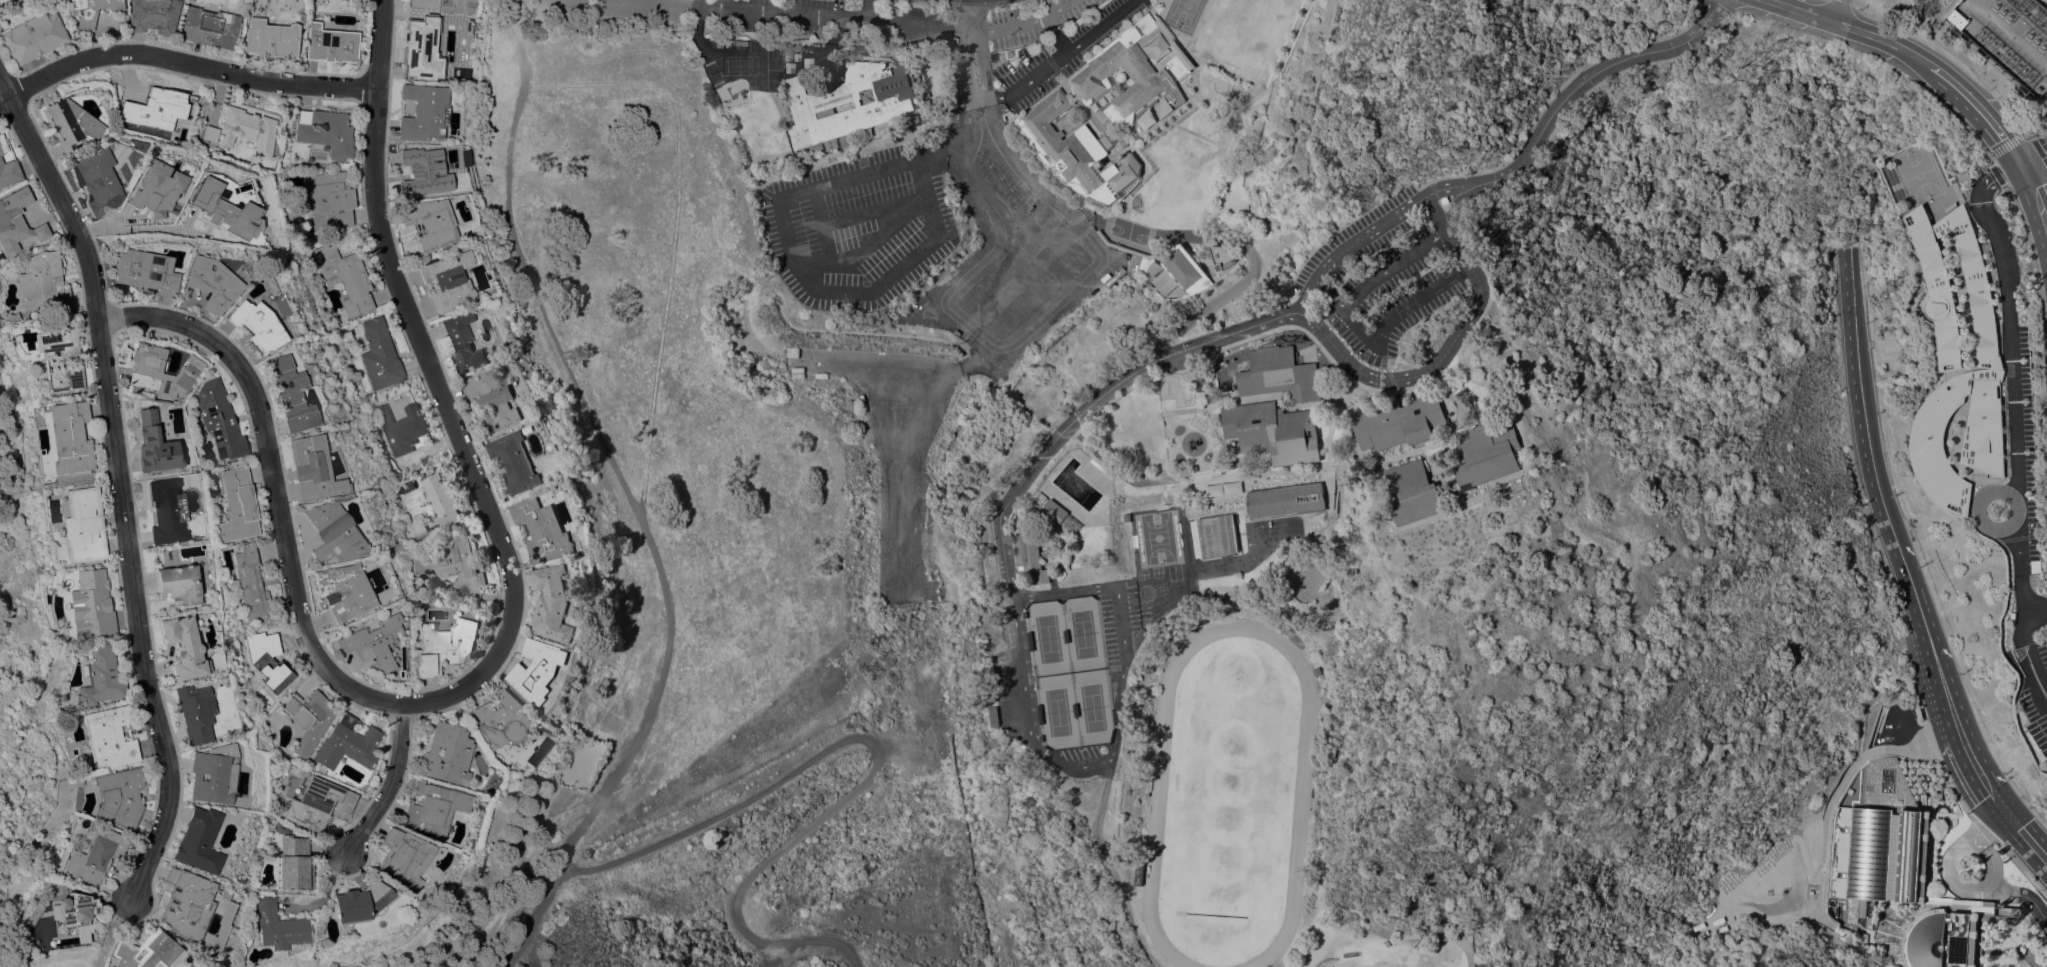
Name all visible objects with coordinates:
building: (2, 0)
road: (663, 3)
road: (1046, 7)
road: (1059, 7)
road: (863, 8)
road: (1837, 10)
building: (92, 11)
park: (1182, 12)
road: (827, 13)
building: (153, 16)
building: (1958, 18)
road: (1013, 23)
road: (1840, 25)
road: (1098, 26)
building: (209, 27)
building: (1142, 32)
road: (2006, 32)
building: (1260, 35)
building: (33, 37)
building: (270, 39)
power substation: (2006, 39)
building: (726, 42)
building: (717, 43)
building: (739, 43)
building: (330, 44)
building: (792, 46)
building: (423, 49)
building: (1152, 54)
road: (184, 63)
road: (1044, 68)
road: (969, 73)
building: (1152, 77)
road: (1571, 92)
building: (105, 94)
building: (885, 105)
road: (1969, 105)
building: (156, 112)
building: (424, 112)
building: (72, 124)
road: (995, 126)
building: (247, 130)
building: (325, 132)
building: (210, 133)
park: (1166, 139)
building: (2, 145)
building: (1076, 150)
road: (2031, 157)
traffic signals: (2017, 165)
building: (9, 172)
building: (426, 174)
building: (100, 180)
building: (157, 189)
road: (980, 193)
building: (330, 200)
road: (2033, 201)
road: (1457, 202)
building: (224, 209)
road: (1440, 210)
road: (864, 214)
building: (13, 216)
building: (430, 223)
road: (819, 223)
road: (674, 224)
road: (132, 229)
road: (1375, 230)
road: (1143, 235)
road: (867, 245)
building: (1126, 246)
building: (1985, 247)
road: (793, 252)
building: (1222, 257)
road: (1393, 265)
building: (1184, 268)
building: (147, 272)
building: (345, 278)
building: (447, 281)
building: (42, 283)
building: (212, 283)
building: (1163, 283)
building: (426, 286)
road: (1308, 287)
parking lot: (1392, 288)
road: (1236, 290)
parking lot: (930, 294)
road: (1053, 301)
building: (12, 317)
road: (960, 319)
building: (256, 324)
road: (1382, 331)
building: (464, 343)
building: (792, 351)
building: (379, 355)
building: (1958, 358)
building: (59, 359)
road: (966, 362)
road: (1434, 368)
building: (161, 371)
building: (797, 371)
building: (821, 374)
building: (1279, 374)
road: (2013, 381)
building: (842, 382)
road: (438, 386)
building: (290, 394)
building: (493, 400)
road: (1862, 410)
building: (219, 420)
building: (1399, 422)
building: (401, 427)
road: (889, 429)
building: (1274, 431)
building: (69, 437)
building: (155, 445)
road: (1044, 453)
building: (1487, 453)
building: (516, 462)
building: (312, 468)
road: (271, 484)
road: (119, 486)
building: (1412, 492)
road: (634, 494)
building: (1287, 499)
building: (430, 503)
building: (238, 506)
building: (167, 511)
building: (1055, 511)
building: (1126, 516)
road: (899, 521)
building: (83, 525)
building: (544, 529)
building: (334, 533)
building: (1217, 535)
park: (1157, 537)
building: (1031, 556)
building: (451, 562)
building: (250, 584)
building: (178, 585)
building: (344, 591)
building: (410, 602)
building: (553, 603)
building: (91, 604)
building: (373, 643)
building: (444, 646)
building: (184, 647)
road: (2027, 647)
building: (267, 659)
road: (1123, 663)
building: (539, 670)
building: (1314, 670)
building: (100, 677)
road: (1946, 694)
building: (48, 708)
building: (195, 713)
building: (308, 718)
building: (510, 731)
building: (108, 737)
building: (347, 744)
building: (446, 754)
building: (213, 774)
road: (388, 785)
road: (850, 791)
building: (1935, 793)
track: (1298, 794)
building: (119, 797)
park: (1228, 799)
building: (318, 804)
building: (433, 808)
traffic signals: (2005, 813)
road: (2025, 837)
building: (199, 841)
building: (95, 856)
building: (1885, 857)
building: (402, 858)
building: (294, 864)
road: (597, 869)
road: (1950, 874)
building: (1140, 877)
road: (2024, 896)
building: (360, 902)
building: (186, 904)
building: (76, 910)
building: (2018, 911)
building: (32, 914)
building: (279, 926)
building: (82, 929)
building: (1943, 938)
building: (146, 951)
park: (1406, 959)
building: (110, 966)

